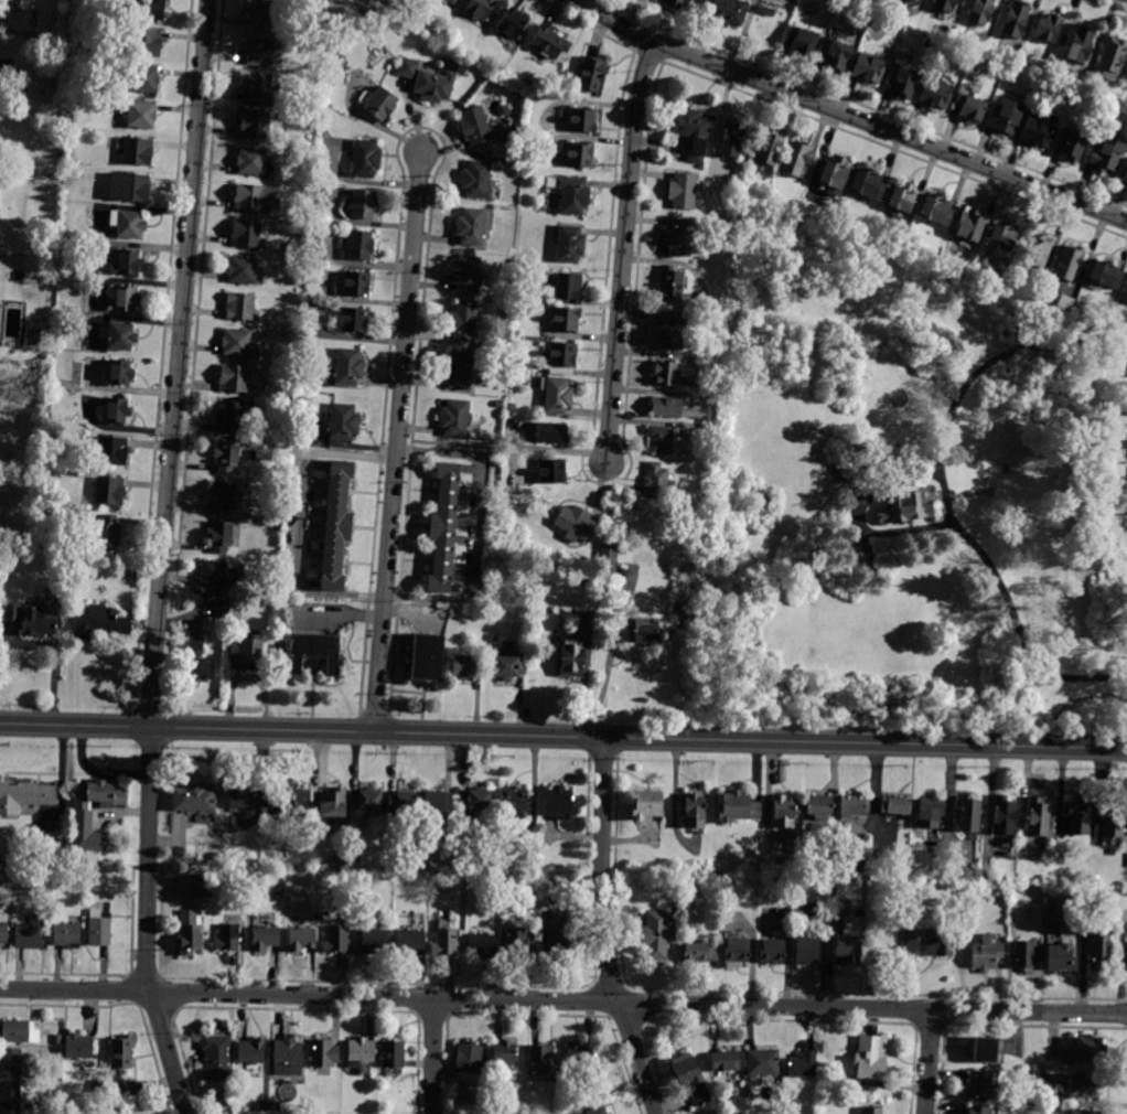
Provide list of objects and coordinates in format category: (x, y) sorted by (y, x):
building: (916, 0)
building: (451, 1)
building: (13, 2)
building: (676, 3)
building: (944, 6)
building: (481, 9)
building: (151, 10)
building: (726, 11)
building: (980, 11)
building: (361, 14)
building: (266, 15)
building: (1016, 19)
building: (512, 23)
building: (1049, 28)
building: (802, 41)
building: (549, 42)
building: (147, 43)
building: (1081, 44)
building: (261, 52)
building: (836, 55)
building: (1112, 56)
building: (7, 65)
building: (868, 67)
building: (409, 68)
building: (592, 74)
building: (141, 78)
building: (902, 78)
building: (437, 85)
building: (258, 88)
building: (935, 94)
building: (382, 105)
building: (969, 107)
building: (504, 110)
building: (141, 115)
road: (848, 116)
building: (1006, 117)
building: (582, 120)
building: (255, 125)
building: (475, 126)
building: (690, 130)
building: (1037, 132)
building: (731, 139)
building: (1071, 143)
building: (769, 147)
building: (138, 151)
building: (1106, 152)
building: (580, 154)
building: (365, 158)
building: (796, 158)
building: (253, 161)
building: (835, 175)
building: (1125, 176)
building: (479, 181)
building: (867, 184)
building: (135, 188)
building: (683, 191)
building: (572, 194)
building: (256, 197)
building: (903, 197)
building: (363, 203)
building: (936, 210)
building: (130, 224)
building: (969, 225)
building: (471, 226)
building: (246, 234)
building: (679, 236)
building: (1003, 236)
building: (359, 244)
building: (570, 244)
building: (1038, 249)
road: (624, 250)
building: (127, 263)
building: (1067, 263)
building: (244, 270)
building: (468, 275)
building: (1105, 275)
building: (356, 283)
building: (672, 285)
building: (567, 287)
building: (125, 299)
building: (1126, 299)
building: (1065, 302)
building: (240, 307)
building: (310, 314)
building: (566, 319)
building: (354, 320)
building: (463, 322)
building: (673, 330)
building: (41, 336)
building: (118, 336)
building: (506, 342)
building: (239, 343)
building: (1059, 349)
building: (562, 354)
building: (350, 367)
building: (459, 371)
building: (120, 373)
building: (667, 373)
building: (236, 378)
building: (557, 396)
building: (666, 406)
building: (117, 410)
building: (229, 416)
building: (455, 418)
building: (343, 421)
building: (552, 433)
building: (661, 439)
road: (397, 440)
building: (112, 450)
building: (227, 457)
building: (552, 472)
building: (656, 481)
building: (110, 491)
building: (223, 496)
building: (905, 508)
building: (337, 523)
building: (575, 523)
building: (450, 527)
building: (108, 533)
building: (221, 536)
building: (45, 542)
road: (162, 558)
building: (608, 558)
building: (861, 563)
building: (214, 575)
building: (590, 580)
building: (238, 600)
building: (222, 608)
road: (337, 613)
building: (36, 617)
building: (99, 622)
building: (643, 633)
building: (493, 638)
building: (319, 651)
building: (247, 654)
building: (197, 660)
building: (430, 660)
building: (572, 661)
road: (610, 664)
building: (468, 665)
building: (508, 667)
road: (562, 737)
building: (24, 795)
building: (240, 796)
building: (194, 797)
building: (288, 799)
building: (366, 800)
building: (476, 800)
building: (402, 802)
building: (438, 802)
building: (515, 802)
building: (559, 802)
building: (333, 803)
building: (647, 804)
building: (854, 805)
building: (895, 805)
building: (738, 807)
building: (819, 807)
building: (80, 808)
building: (782, 812)
building: (694, 813)
building: (930, 813)
building: (969, 814)
building: (1003, 815)
building: (1038, 817)
building: (1077, 817)
building: (1113, 818)
building: (80, 840)
building: (62, 855)
building: (1126, 861)
building: (356, 863)
building: (851, 863)
building: (201, 887)
building: (812, 892)
building: (350, 920)
building: (100, 928)
building: (3, 929)
road: (603, 929)
building: (68, 933)
building: (191, 933)
building: (658, 935)
building: (29, 938)
building: (228, 938)
building: (265, 938)
building: (302, 939)
building: (559, 939)
building: (336, 940)
building: (374, 940)
building: (410, 941)
building: (446, 941)
building: (519, 941)
building: (937, 942)
building: (484, 944)
building: (1101, 949)
building: (738, 950)
building: (847, 950)
building: (807, 951)
building: (700, 952)
building: (772, 952)
building: (987, 953)
building: (1059, 954)
building: (1028, 955)
road: (562, 1001)
building: (20, 1031)
building: (58, 1040)
building: (79, 1047)
building: (986, 1049)
building: (1090, 1050)
building: (122, 1051)
building: (251, 1051)
building: (359, 1051)
building: (324, 1053)
building: (504, 1053)
building: (580, 1053)
building: (393, 1054)
building: (288, 1056)
building: (217, 1057)
road: (432, 1057)
building: (540, 1058)
building: (871, 1058)
road: (929, 1061)
building: (469, 1062)
building: (726, 1062)
building: (763, 1062)
building: (13, 1063)
building: (803, 1067)
building: (691, 1079)
building: (981, 1084)
building: (100, 1085)
building: (1084, 1086)
building: (49, 1096)
building: (10, 1099)
building: (117, 1104)
building: (276, 1105)
building: (60, 1106)
building: (311, 1106)
building: (871, 1110)
building: (979, 1110)
building: (600, 1111)
building: (1081, 1112)

